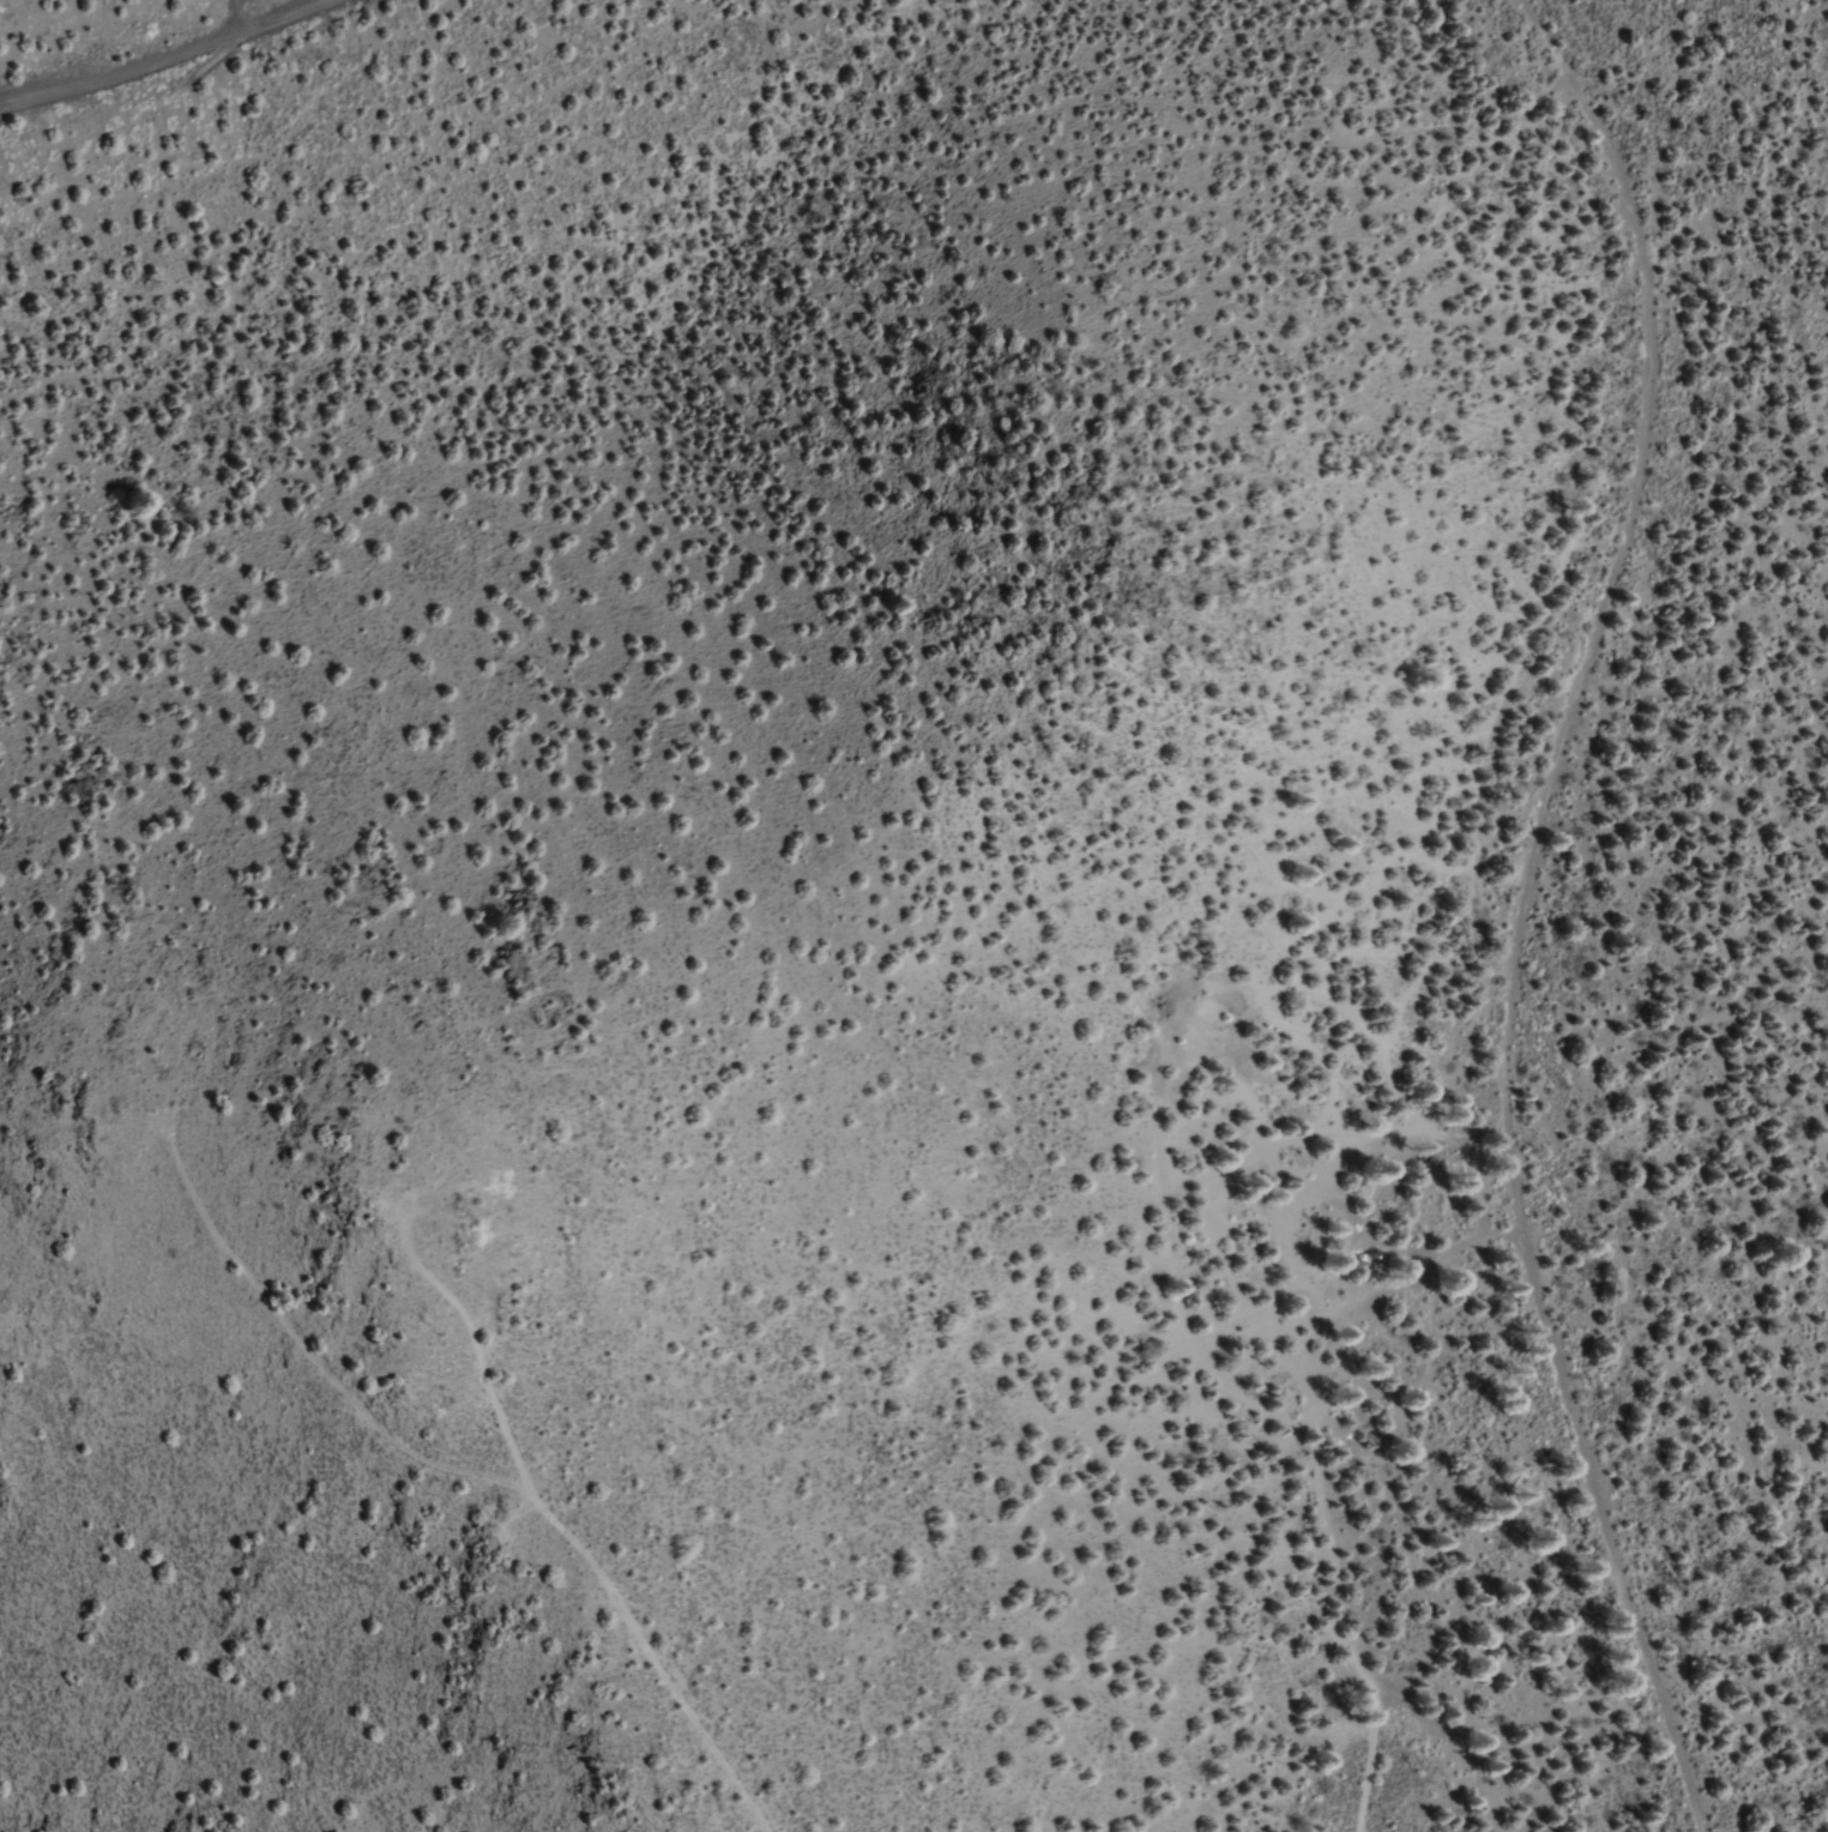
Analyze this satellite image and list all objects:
road: (235, 16)
road: (161, 55)
road: (241, 155)
road: (1521, 908)
road: (1315, 1477)
road: (497, 1481)

